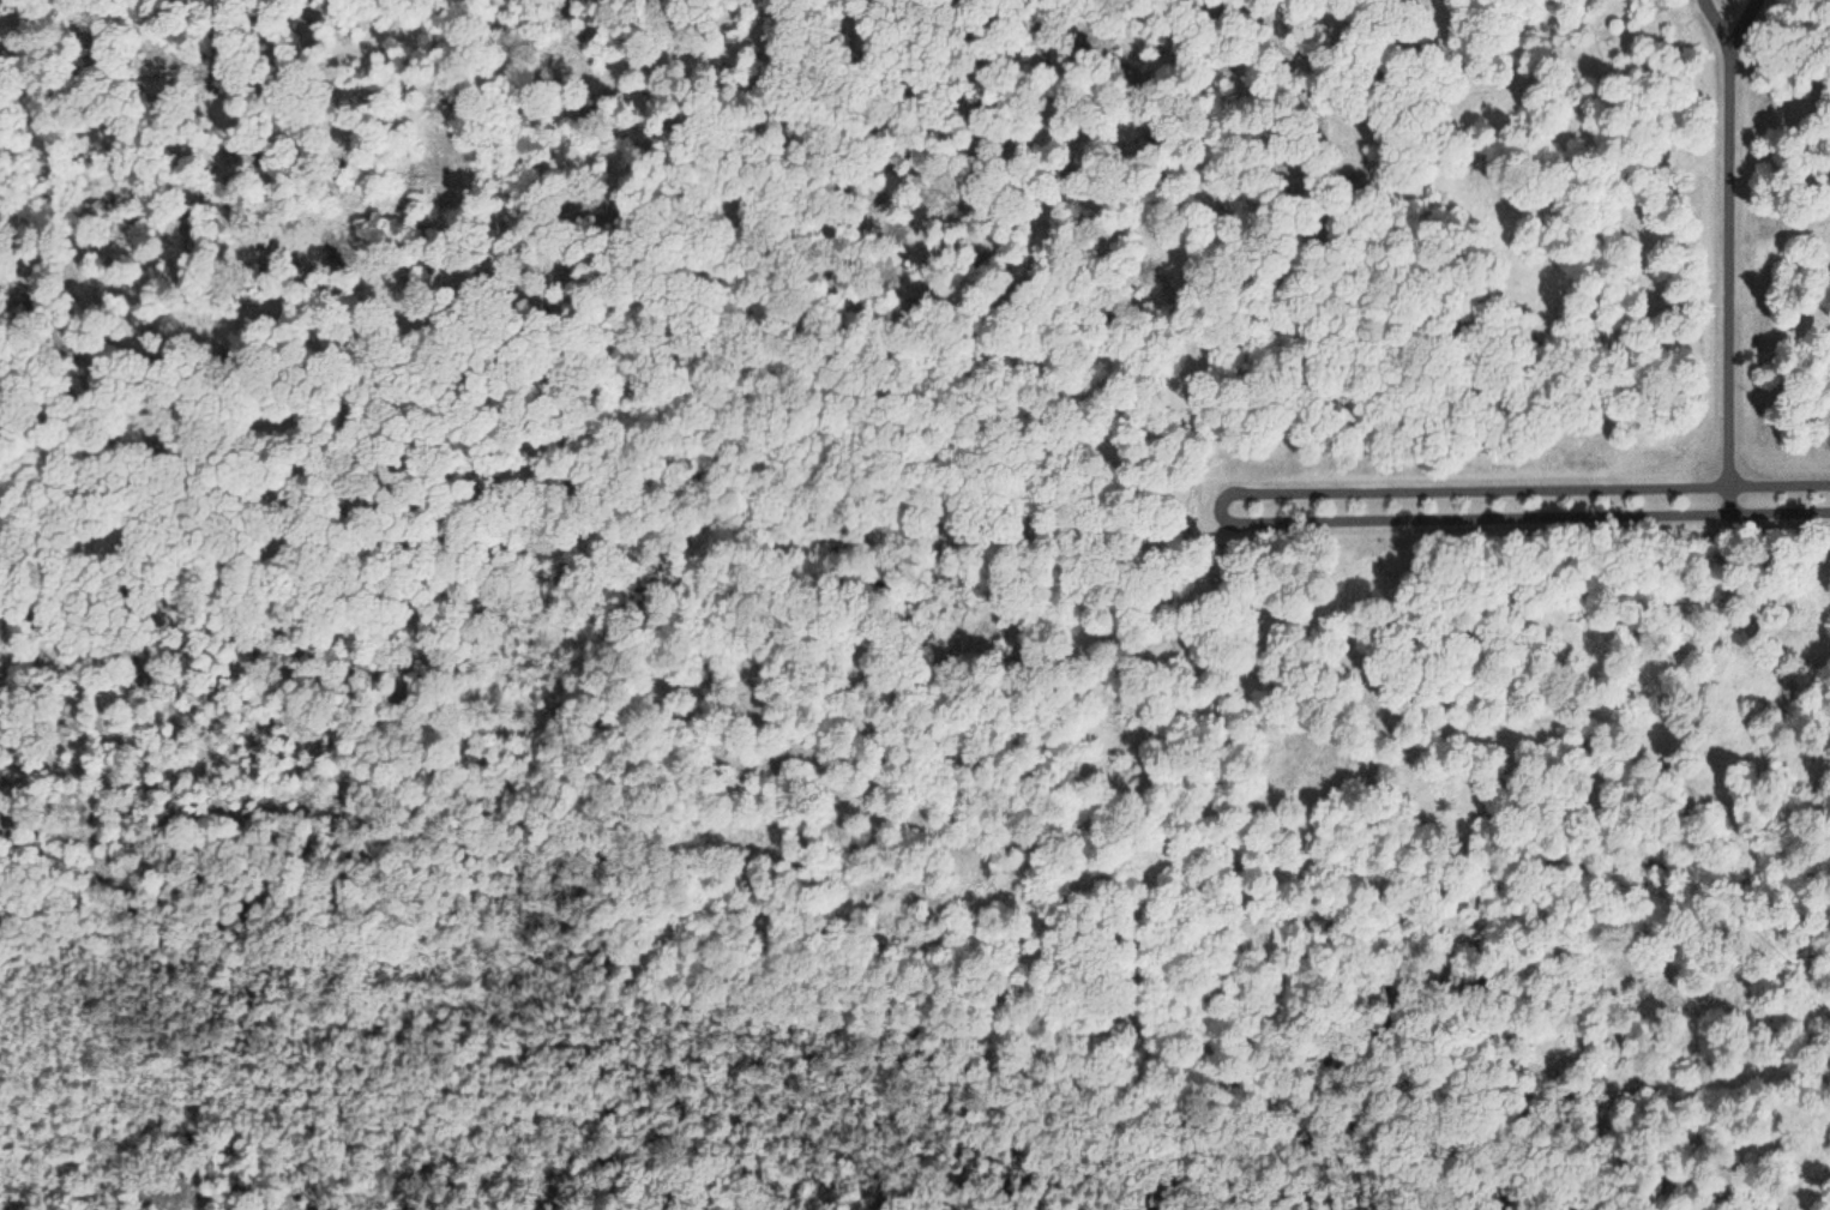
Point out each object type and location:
road: (796, 155)
road: (1732, 258)
road: (975, 365)
road: (359, 386)
road: (1226, 510)

